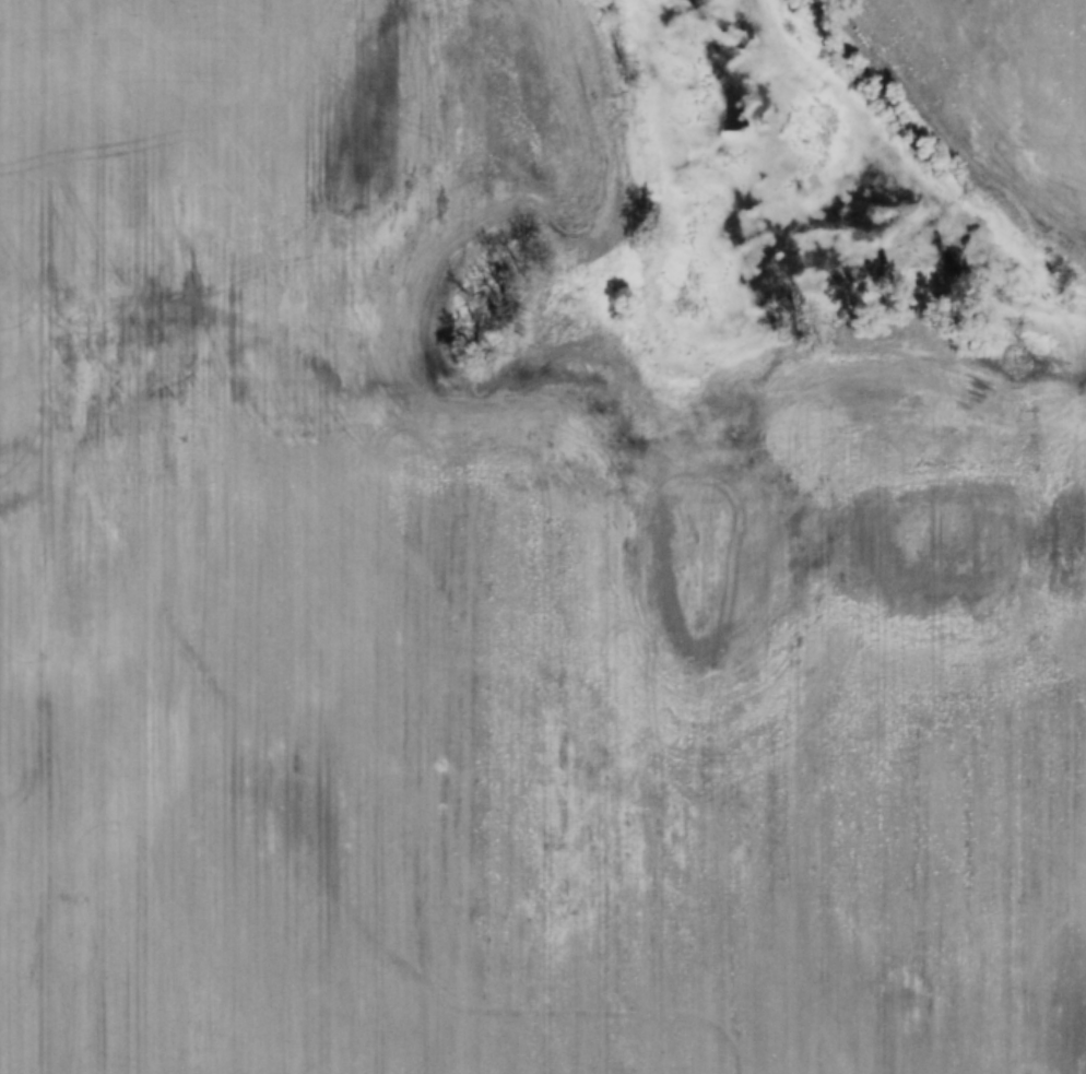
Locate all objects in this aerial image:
power tower: (1026, 363)

